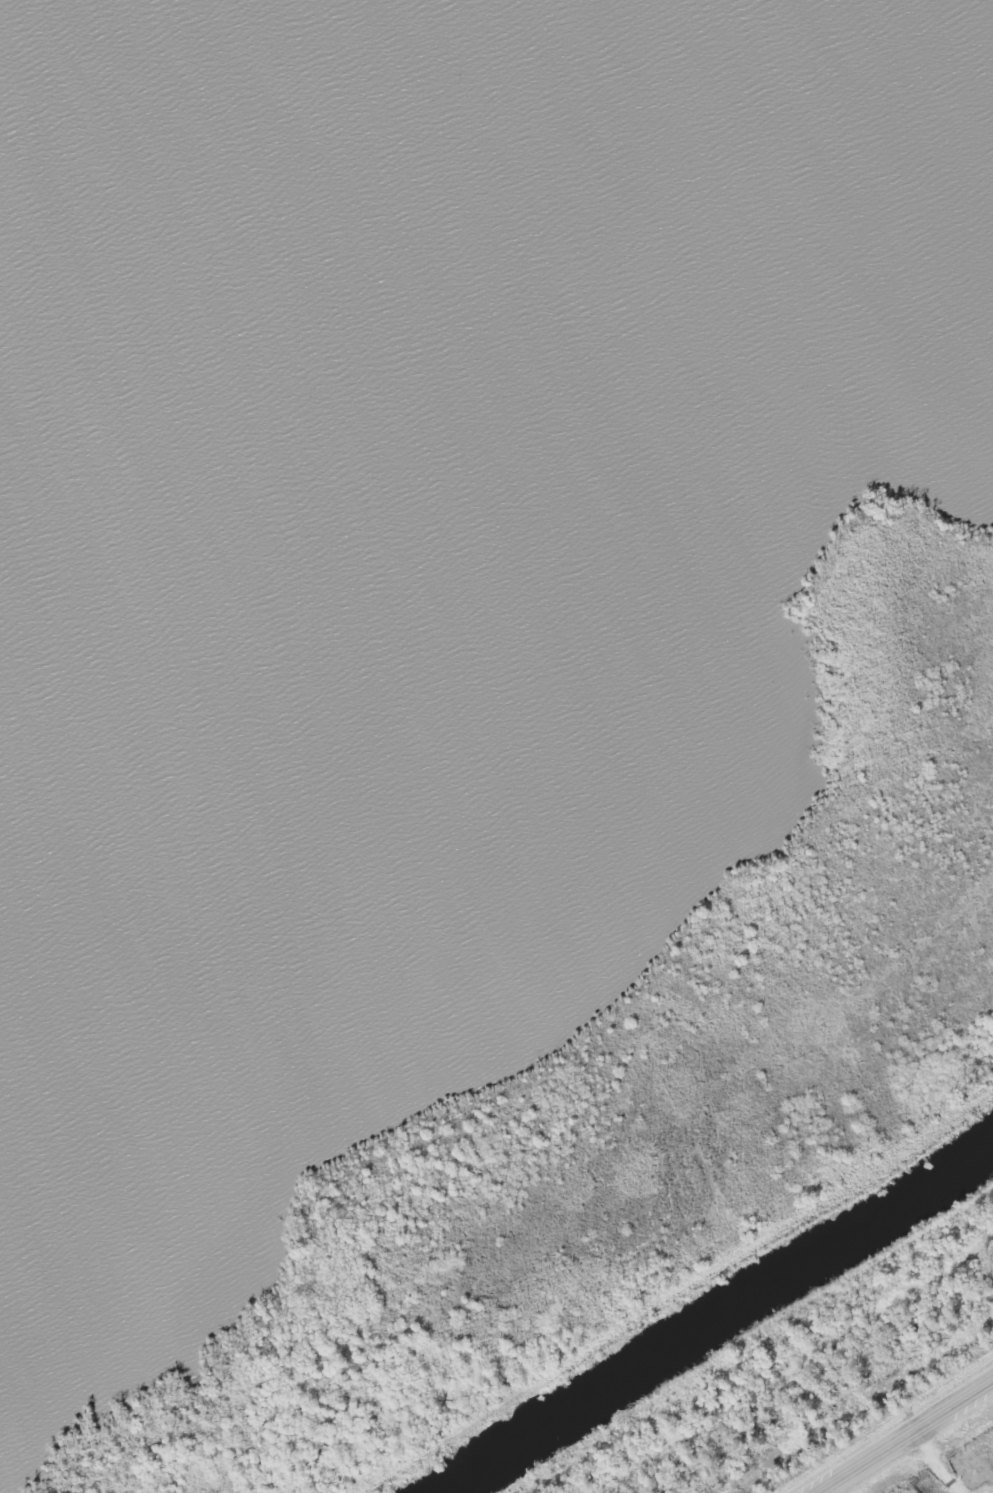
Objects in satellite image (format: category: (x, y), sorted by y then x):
road: (907, 1439)
road: (940, 1464)

